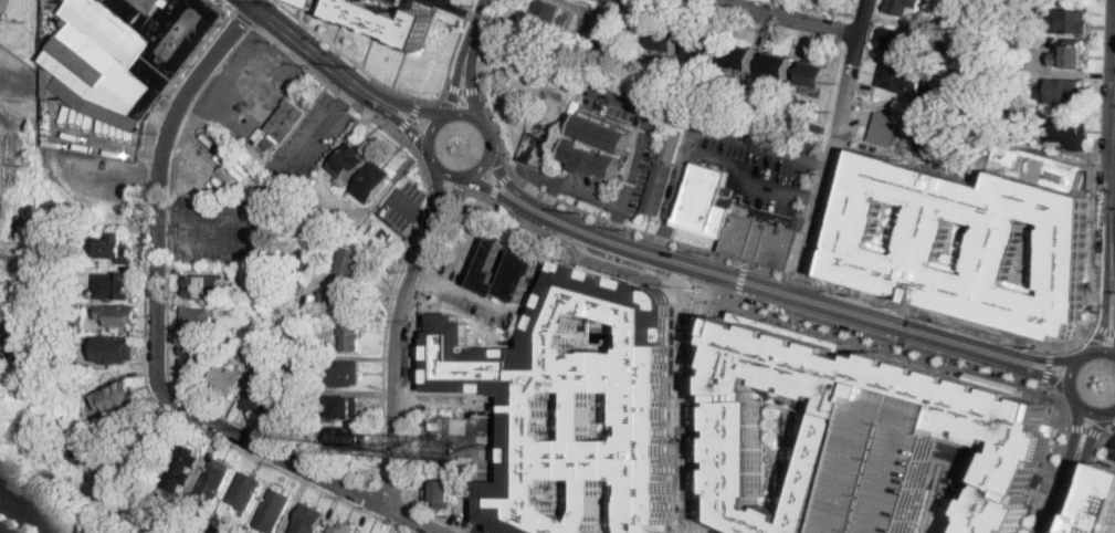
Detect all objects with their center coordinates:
building: (309, 2)
parking lot: (424, 3)
road: (441, 3)
road: (228, 4)
road: (470, 7)
road: (499, 8)
building: (904, 8)
road: (465, 12)
road: (244, 17)
road: (797, 17)
building: (386, 21)
building: (1070, 21)
building: (545, 23)
road: (476, 30)
road: (324, 38)
building: (666, 40)
building: (897, 40)
building: (132, 48)
building: (704, 48)
building: (570, 49)
road: (314, 52)
building: (1074, 55)
building: (740, 58)
building: (778, 65)
building: (817, 74)
building: (564, 75)
building: (902, 79)
parking lot: (246, 87)
road: (456, 87)
road: (464, 88)
road: (471, 90)
road: (443, 91)
building: (1063, 91)
road: (412, 108)
road: (410, 116)
road: (475, 116)
building: (286, 117)
road: (224, 118)
road: (407, 124)
road: (707, 127)
road: (882, 127)
road: (319, 129)
building: (260, 132)
road: (430, 132)
building: (1070, 133)
building: (604, 134)
parking lot: (309, 140)
road: (838, 143)
building: (539, 144)
parking lot: (645, 144)
building: (673, 144)
parking lot: (756, 158)
building: (593, 159)
road: (484, 163)
road: (824, 163)
building: (350, 164)
road: (635, 164)
road: (444, 171)
road: (740, 178)
building: (374, 181)
road: (499, 184)
parking lot: (94, 185)
building: (659, 188)
road: (439, 191)
road: (551, 191)
road: (451, 195)
road: (442, 198)
building: (707, 201)
road: (813, 202)
parking lot: (403, 203)
road: (570, 205)
road: (453, 208)
road: (412, 209)
road: (420, 218)
road: (616, 218)
road: (254, 221)
parking lot: (220, 227)
building: (351, 230)
road: (663, 233)
building: (381, 234)
road: (1113, 239)
building: (761, 240)
building: (930, 244)
building: (117, 248)
building: (351, 261)
building: (301, 263)
building: (525, 264)
building: (269, 272)
road: (544, 273)
road: (427, 276)
road: (769, 276)
building: (297, 278)
road: (743, 280)
road: (802, 280)
building: (201, 284)
building: (116, 286)
road: (1113, 286)
road: (768, 291)
road: (482, 301)
building: (341, 303)
road: (167, 306)
building: (287, 311)
building: (119, 315)
road: (1101, 317)
building: (198, 318)
building: (76, 323)
road: (1102, 326)
building: (351, 337)
road: (145, 339)
road: (1019, 341)
road: (157, 342)
building: (231, 343)
building: (412, 347)
building: (116, 348)
building: (329, 351)
road: (1102, 351)
road: (932, 353)
building: (193, 354)
road: (1084, 356)
building: (296, 358)
road: (396, 359)
road: (1046, 367)
building: (339, 374)
road: (1071, 376)
building: (225, 380)
road: (699, 386)
building: (257, 395)
building: (471, 395)
building: (530, 395)
parking lot: (530, 395)
building: (118, 397)
road: (421, 398)
building: (344, 407)
road: (1091, 411)
road: (716, 416)
road: (687, 420)
building: (1004, 420)
building: (435, 426)
building: (303, 427)
road: (1077, 428)
road: (1085, 429)
road: (1091, 431)
building: (347, 438)
road: (1112, 439)
building: (149, 443)
parking lot: (1111, 445)
building: (81, 454)
road: (967, 457)
building: (466, 460)
building: (892, 460)
parking lot: (892, 460)
building: (181, 463)
building: (442, 464)
road: (1016, 471)
road: (1072, 472)
road: (1084, 475)
building: (213, 478)
road: (1051, 483)
road: (1046, 484)
building: (144, 490)
building: (246, 491)
building: (454, 491)
road: (389, 492)
building: (157, 497)
road: (367, 497)
building: (1101, 504)
railway: (43, 509)
building: (274, 510)
road: (401, 511)
road: (1058, 511)
road: (1033, 512)
railway: (31, 514)
road: (699, 516)
road: (705, 516)
building: (309, 520)
building: (210, 524)
building: (343, 527)
building: (221, 529)
parking lot: (3, 530)

